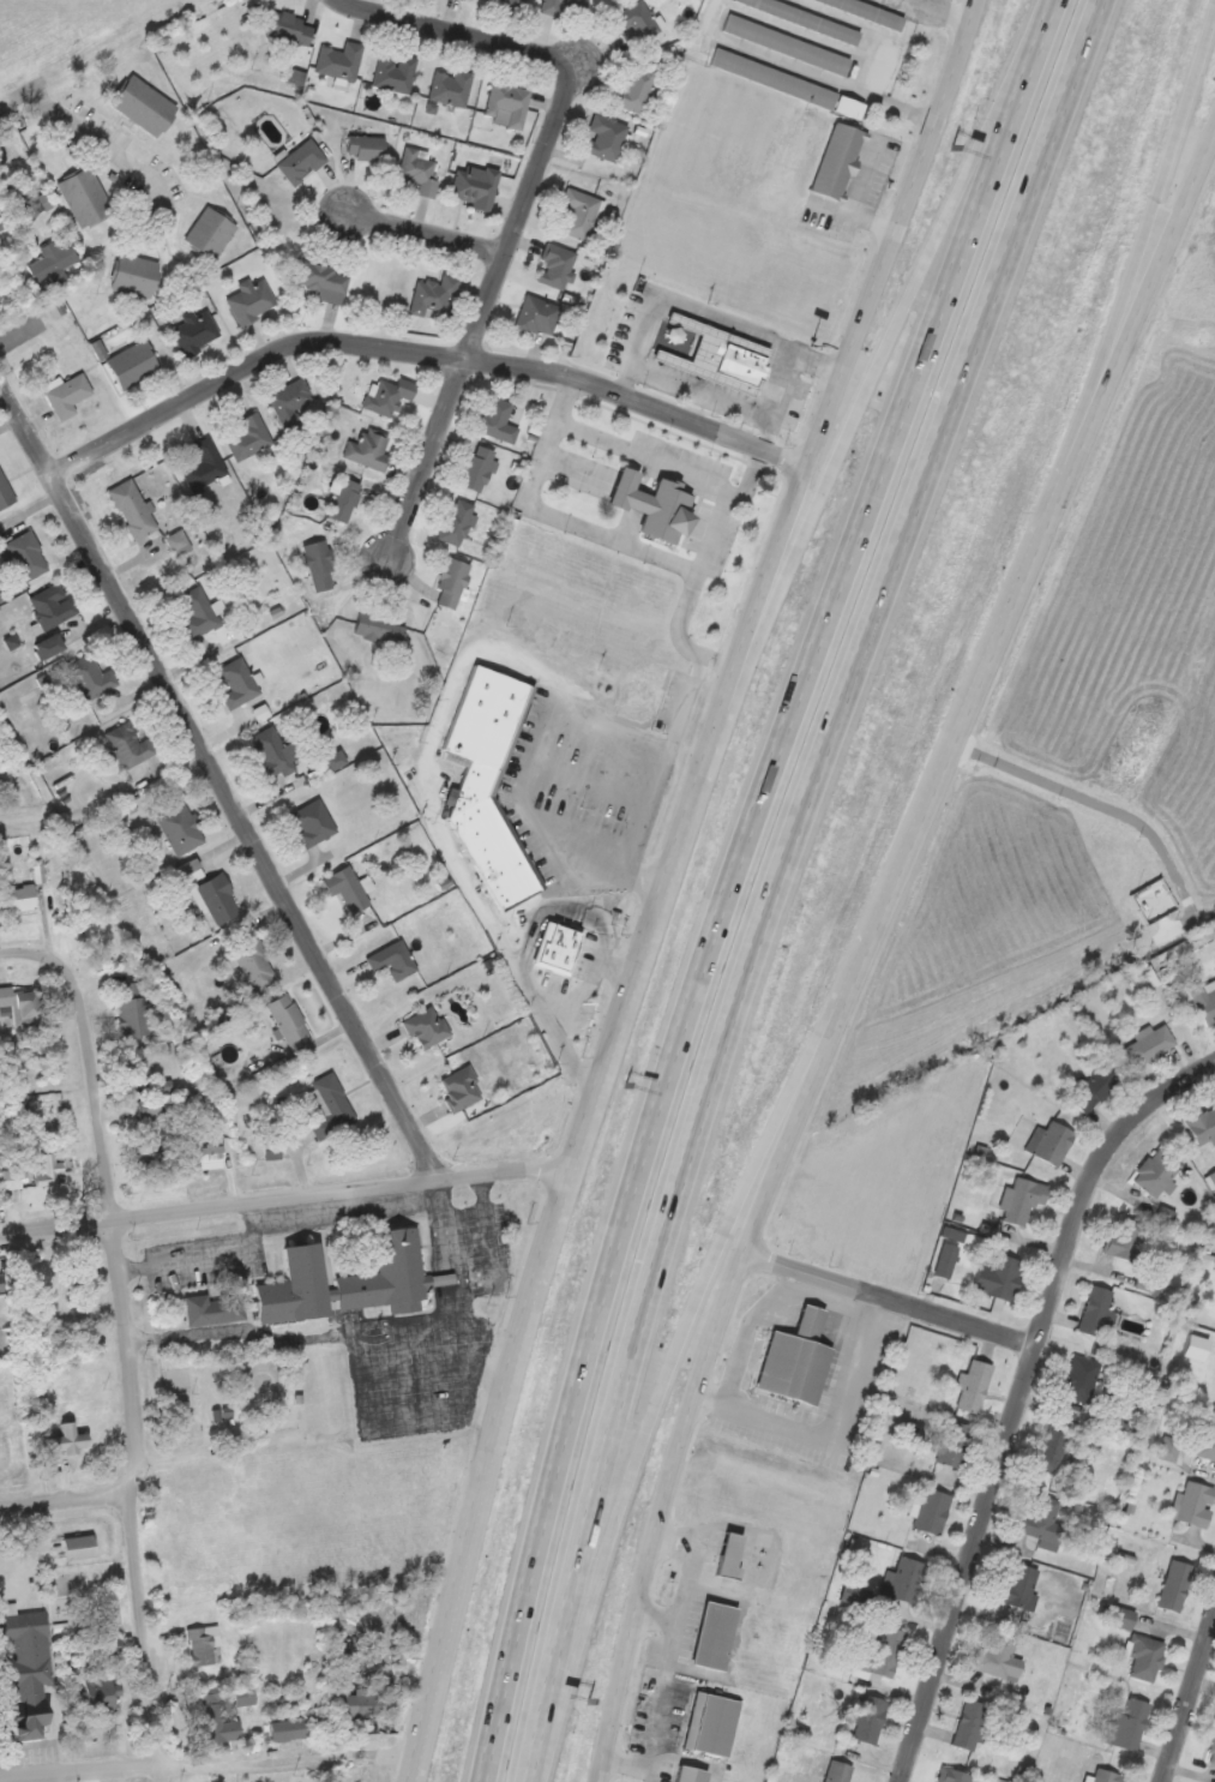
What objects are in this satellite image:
building: (515, 6)
building: (551, 6)
road: (958, 8)
building: (872, 10)
building: (806, 18)
building: (637, 22)
building: (288, 26)
building: (787, 43)
building: (339, 60)
building: (395, 73)
building: (775, 77)
building: (638, 85)
building: (451, 88)
road: (19, 95)
building: (507, 101)
building: (144, 104)
building: (607, 136)
road: (102, 140)
building: (366, 148)
building: (301, 161)
building: (838, 161)
building: (419, 172)
building: (475, 185)
building: (85, 197)
road: (523, 198)
building: (579, 211)
building: (2, 221)
building: (210, 233)
road: (425, 233)
building: (53, 260)
building: (555, 265)
building: (136, 275)
building: (324, 281)
building: (435, 294)
building: (252, 300)
road: (1123, 304)
building: (537, 316)
building: (196, 331)
road: (419, 349)
building: (716, 356)
building: (132, 364)
building: (67, 394)
building: (389, 394)
building: (290, 395)
building: (498, 419)
building: (251, 437)
road: (846, 437)
building: (368, 449)
building: (204, 464)
building: (477, 468)
building: (5, 492)
building: (344, 499)
building: (651, 505)
building: (134, 508)
building: (458, 521)
building: (179, 541)
building: (24, 554)
building: (319, 564)
road: (760, 581)
building: (451, 583)
building: (52, 605)
building: (199, 613)
building: (378, 626)
building: (48, 646)
building: (91, 677)
building: (237, 683)
building: (644, 689)
road: (973, 692)
building: (130, 745)
building: (273, 751)
building: (483, 780)
road: (221, 781)
building: (312, 823)
building: (180, 828)
building: (190, 870)
road: (775, 878)
road: (733, 880)
building: (347, 888)
building: (20, 898)
building: (215, 898)
building: (557, 948)
road: (36, 953)
building: (392, 960)
building: (255, 965)
building: (1204, 1000)
building: (23, 1006)
building: (132, 1008)
building: (289, 1020)
building: (426, 1027)
building: (1150, 1042)
building: (132, 1062)
building: (461, 1087)
building: (1093, 1087)
road: (96, 1093)
building: (329, 1105)
building: (148, 1109)
building: (1203, 1127)
building: (1049, 1142)
building: (271, 1150)
building: (150, 1154)
building: (207, 1154)
building: (46, 1169)
building: (1156, 1172)
building: (12, 1178)
road: (283, 1198)
building: (1022, 1199)
road: (482, 1212)
building: (1124, 1241)
road: (213, 1259)
building: (945, 1259)
building: (998, 1276)
building: (348, 1279)
building: (0, 1284)
road: (889, 1298)
building: (213, 1309)
building: (1095, 1309)
road: (461, 1318)
road: (680, 1339)
road: (240, 1340)
building: (1196, 1343)
road: (866, 1354)
building: (795, 1360)
building: (1079, 1379)
building: (973, 1386)
road: (1017, 1397)
road: (361, 1398)
building: (67, 1438)
building: (1207, 1438)
building: (952, 1442)
building: (1052, 1447)
road: (480, 1474)
road: (64, 1498)
road: (127, 1500)
building: (1195, 1504)
building: (931, 1511)
road: (660, 1514)
building: (1041, 1522)
building: (77, 1547)
building: (729, 1554)
building: (904, 1580)
building: (1174, 1585)
building: (1019, 1586)
building: (1123, 1618)
building: (714, 1634)
building: (202, 1644)
building: (880, 1652)
building: (998, 1657)
building: (1145, 1657)
building: (25, 1670)
building: (98, 1692)
building: (243, 1696)
building: (362, 1705)
road: (1191, 1710)
building: (216, 1718)
building: (867, 1718)
building: (711, 1723)
building: (970, 1724)
building: (1125, 1724)
building: (289, 1729)
building: (1211, 1752)
road: (210, 1765)
building: (837, 1771)
building: (690, 1774)
road: (414, 1775)
building: (954, 1776)
building: (1107, 1776)

